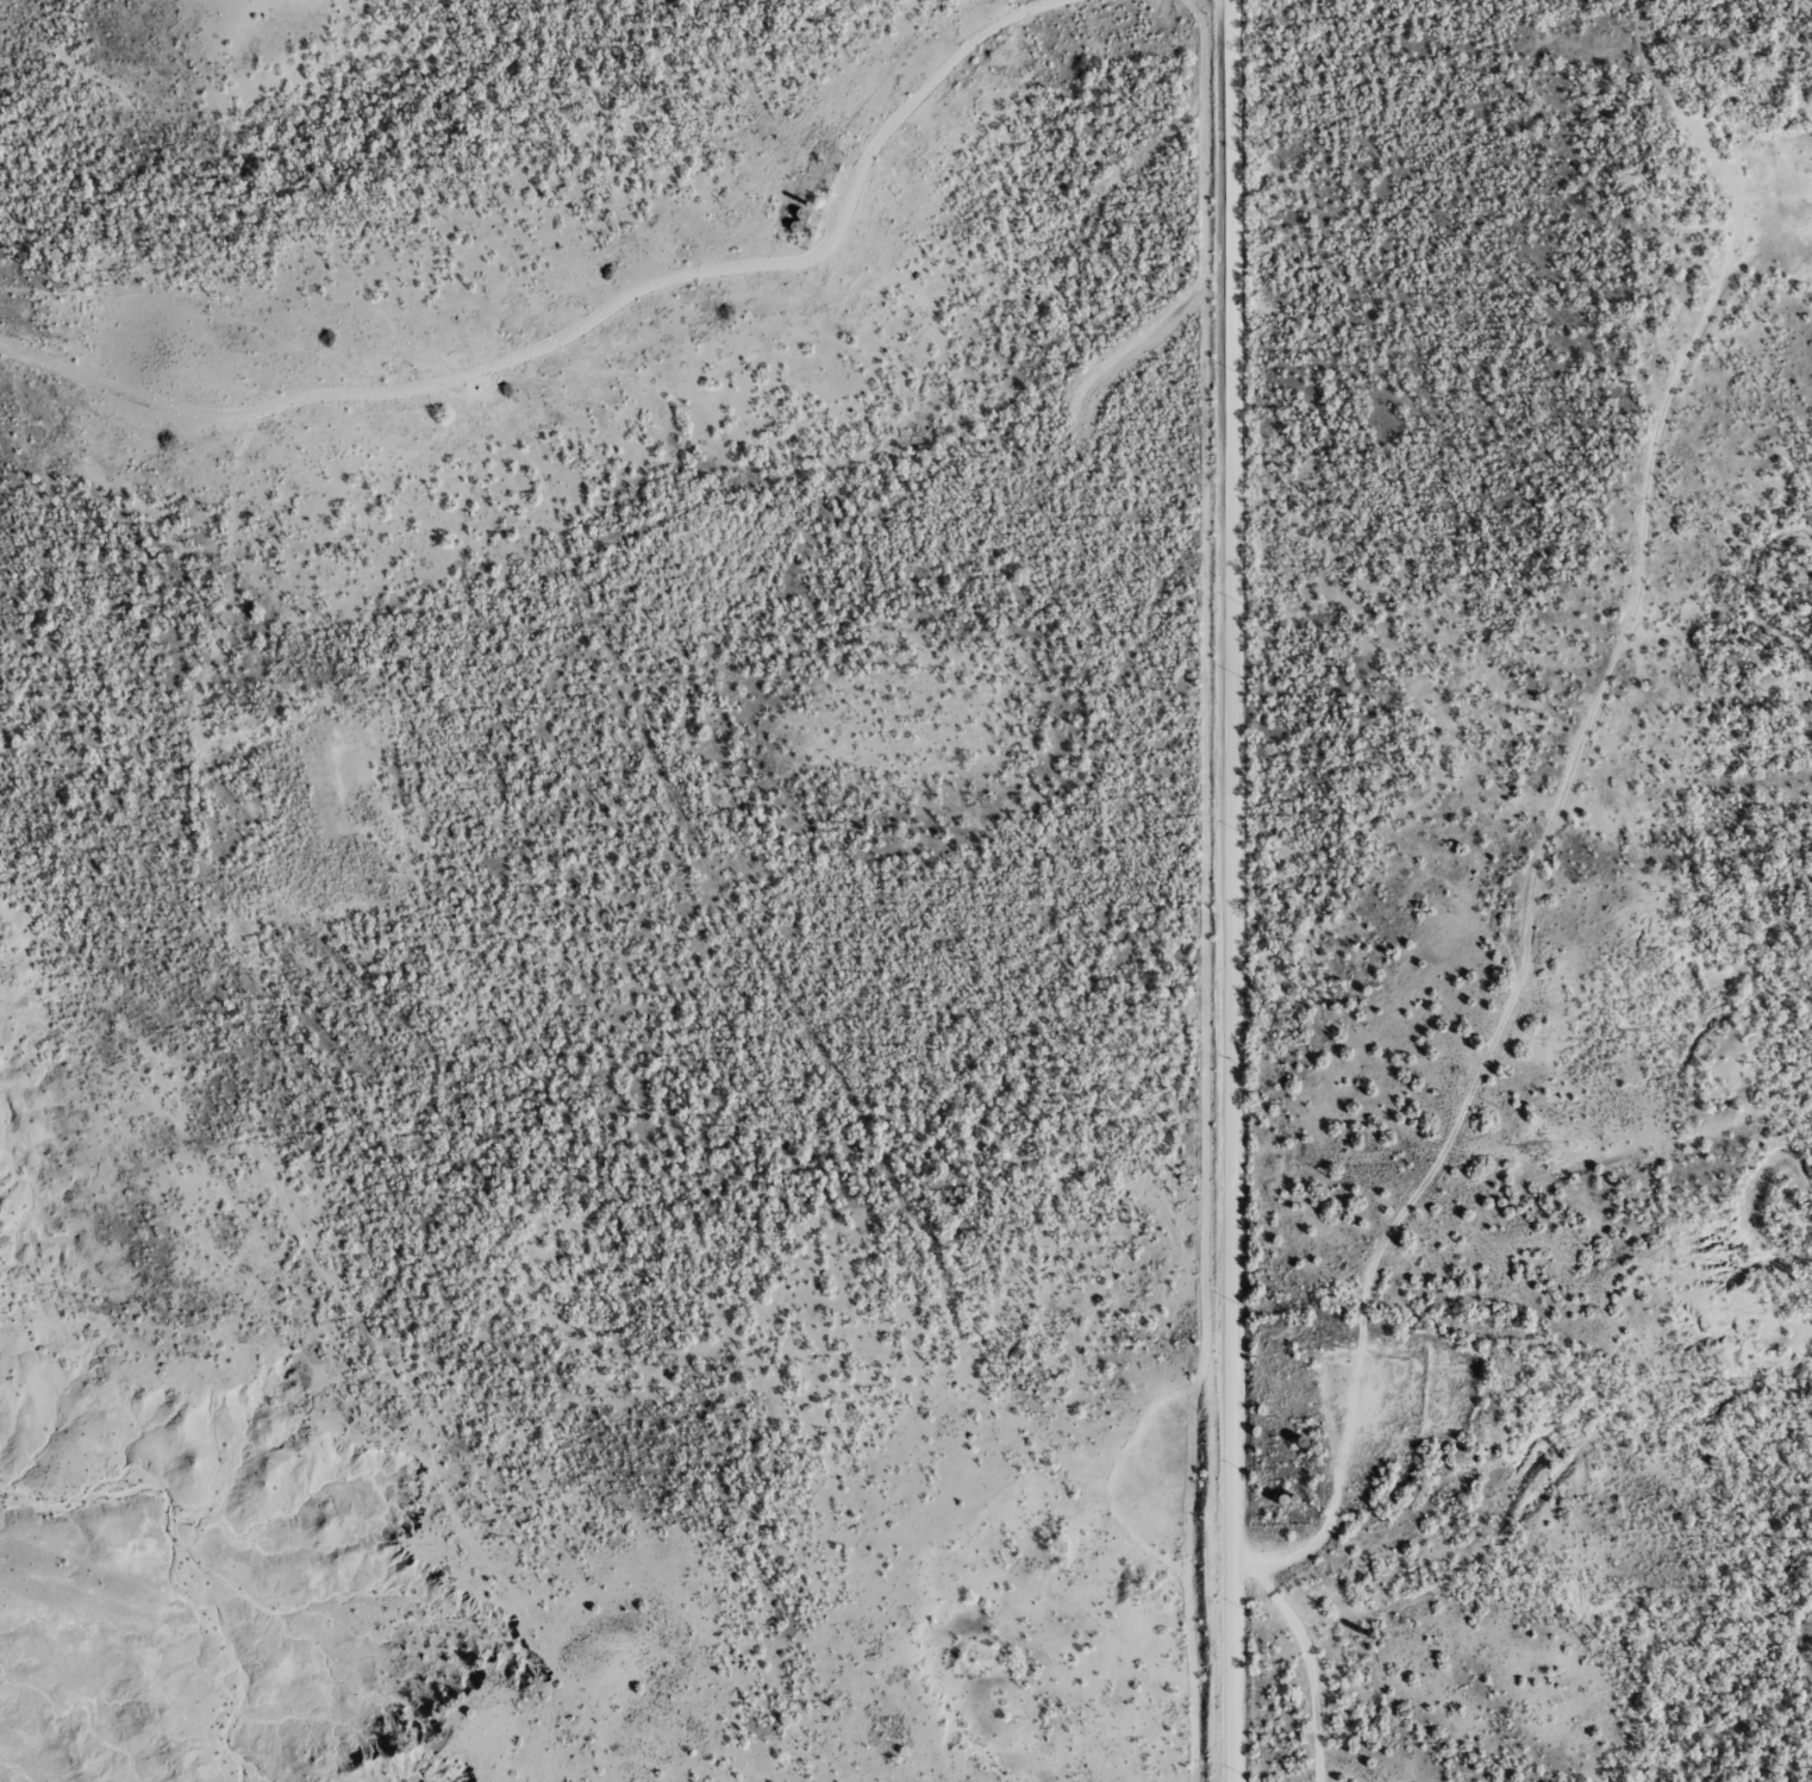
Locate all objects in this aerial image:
road: (1243, 890)
road: (1341, 1664)

